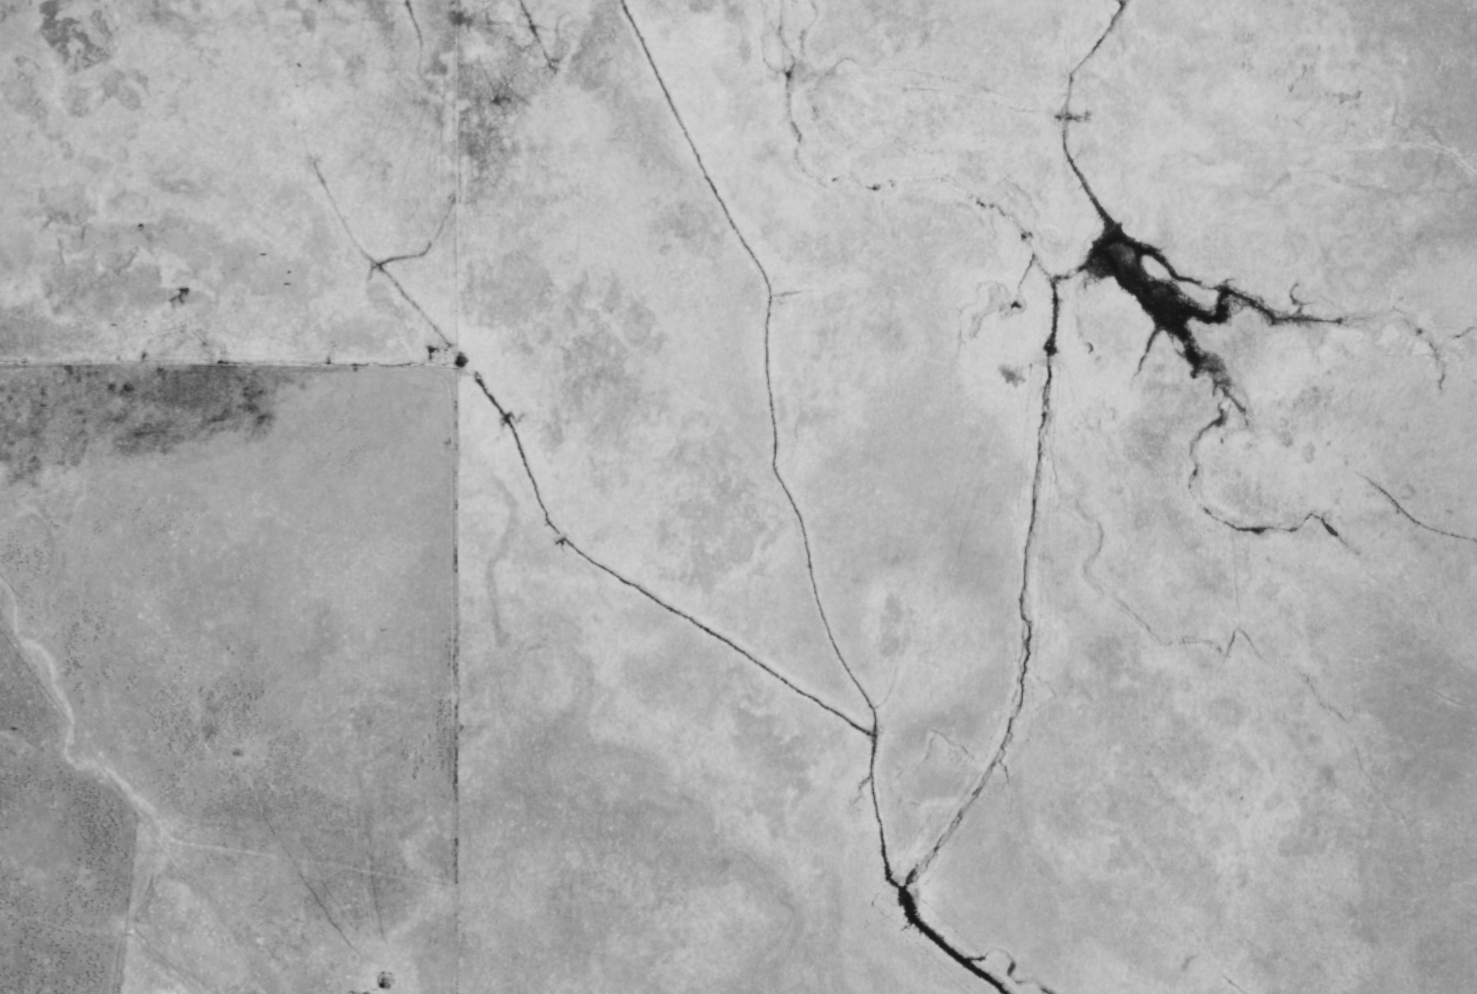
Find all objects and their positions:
crop: (752, 489)

